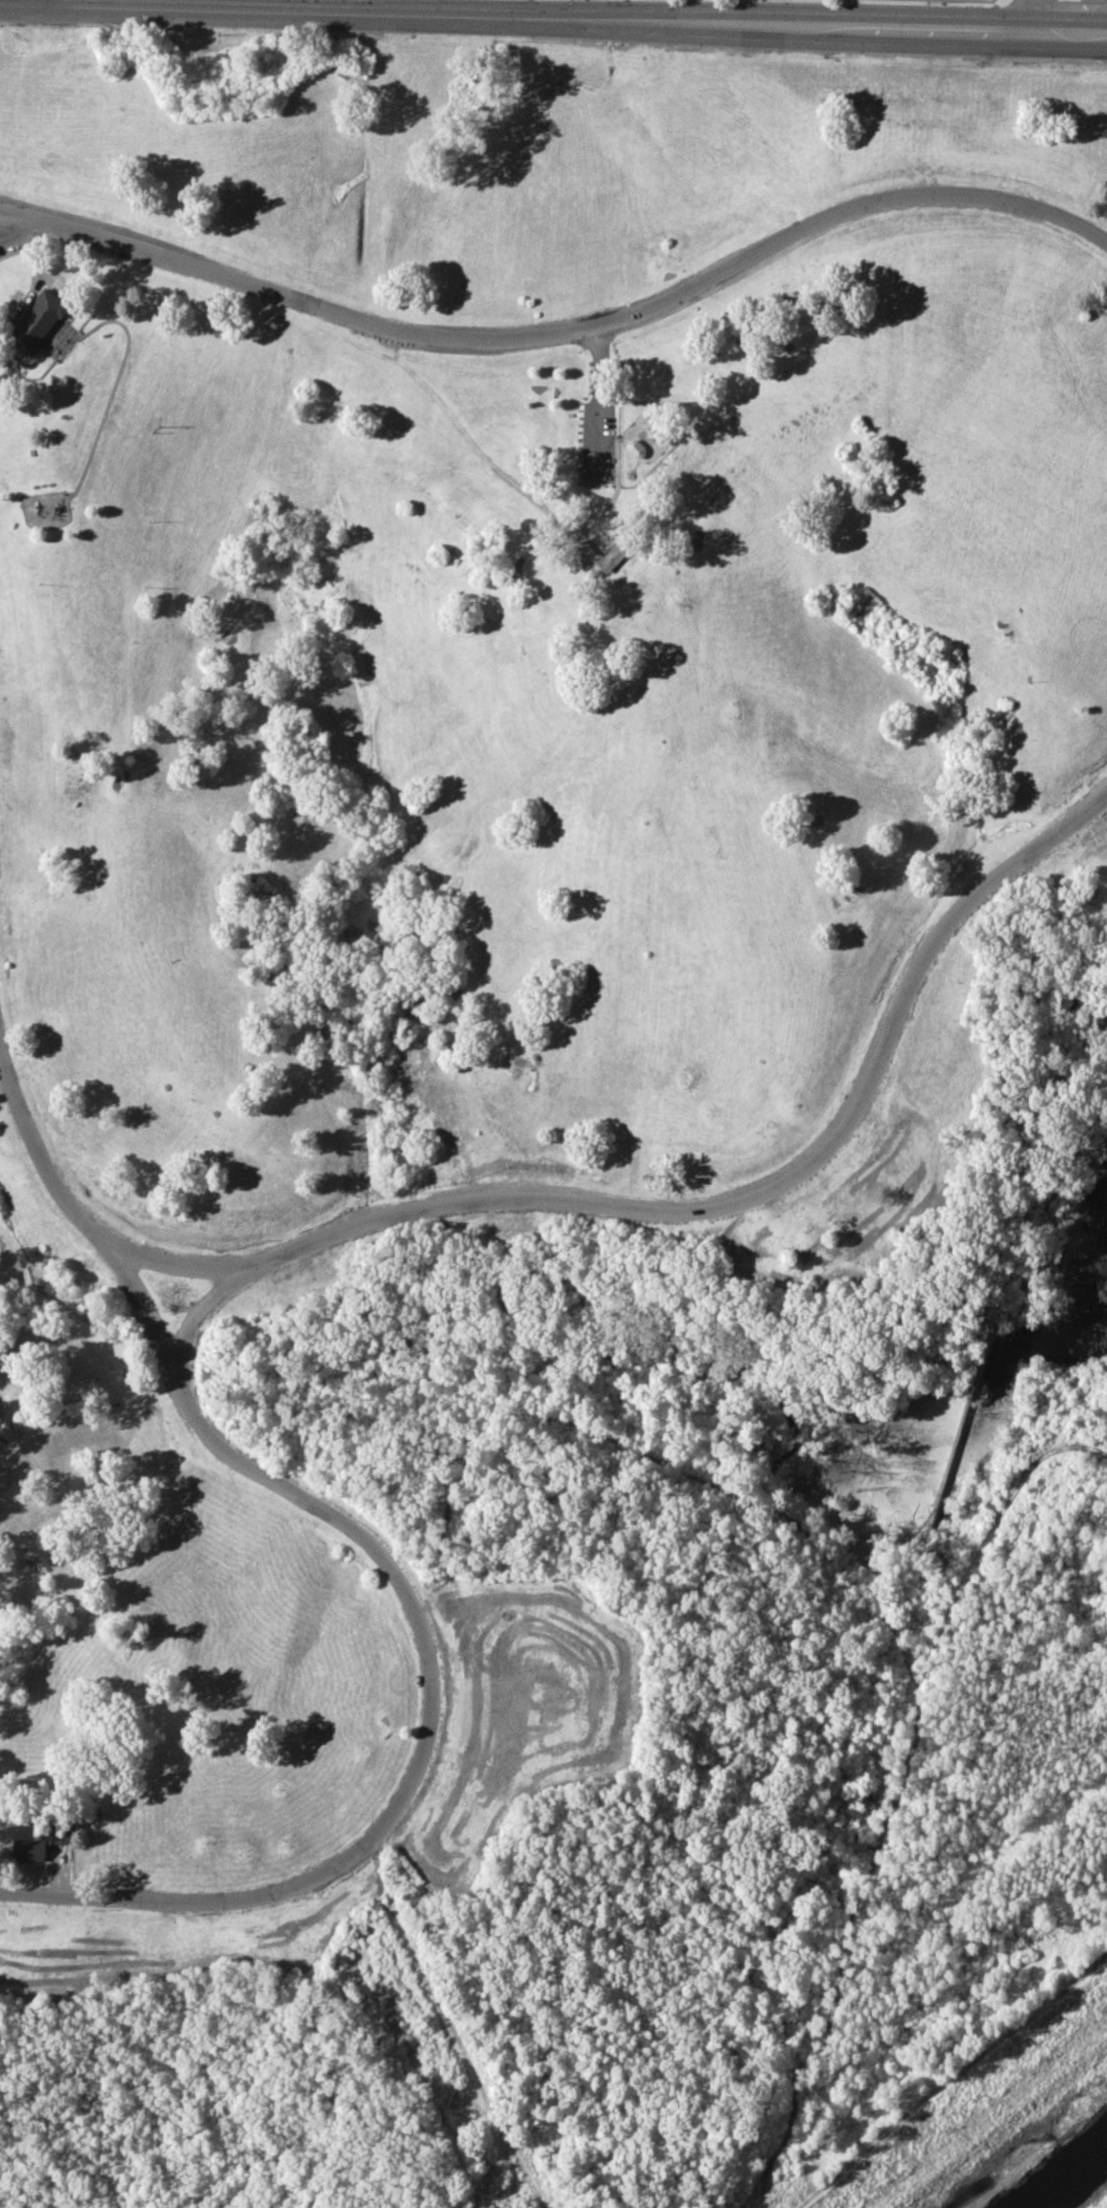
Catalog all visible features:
road: (39, 1)
road: (20, 2)
street lamp: (926, 2)
road: (1030, 13)
road: (573, 15)
street lamp: (492, 40)
street lamp: (664, 48)
street lamp: (824, 56)
street lamp: (1012, 62)
road: (13, 220)
building: (37, 319)
road: (114, 319)
road: (563, 332)
road: (594, 405)
road: (613, 495)
building: (612, 557)
park: (553, 1117)
road: (708, 1213)
road: (194, 1313)
road: (250, 1465)
building: (38, 1843)
road: (183, 1904)
road: (453, 2033)
river: (1073, 2182)

